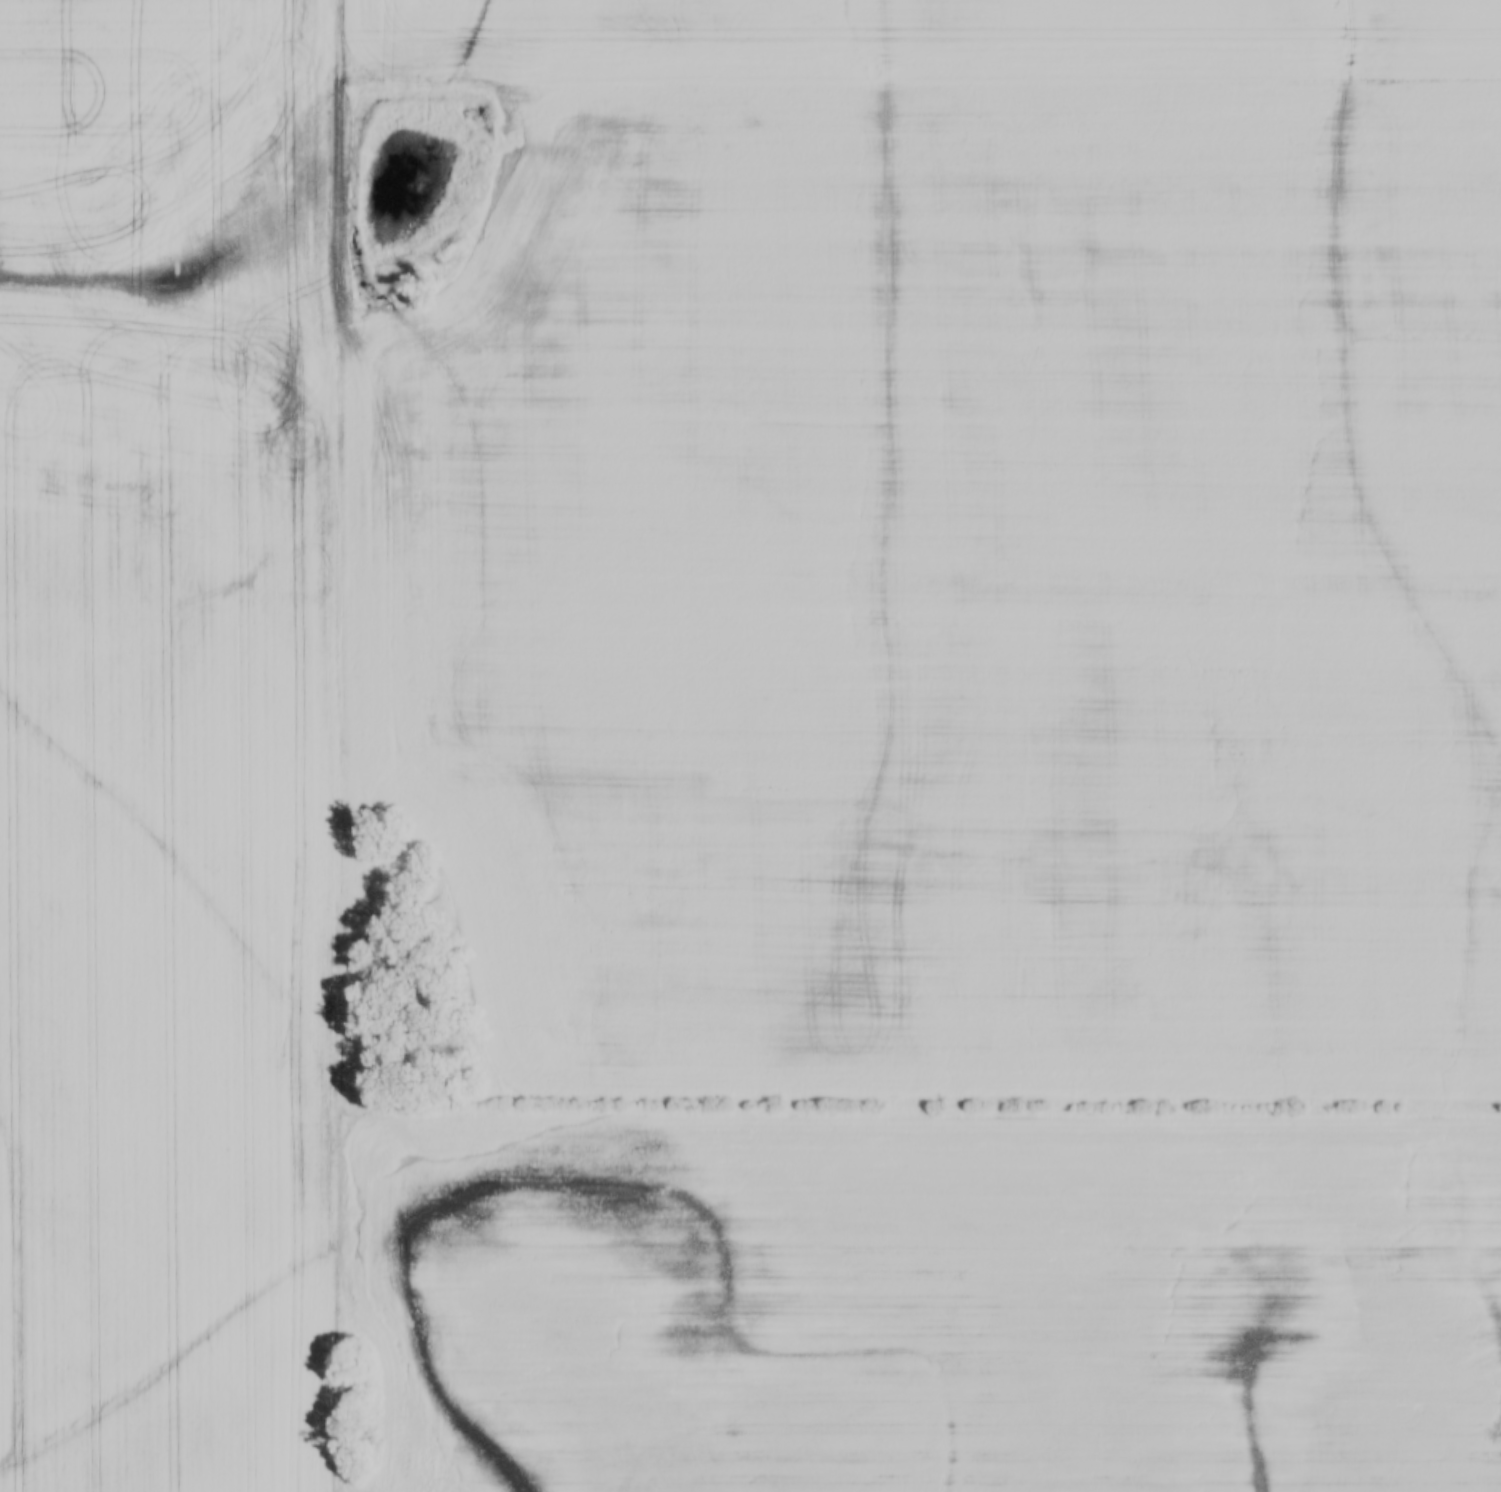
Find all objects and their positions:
road: (198, 112)

